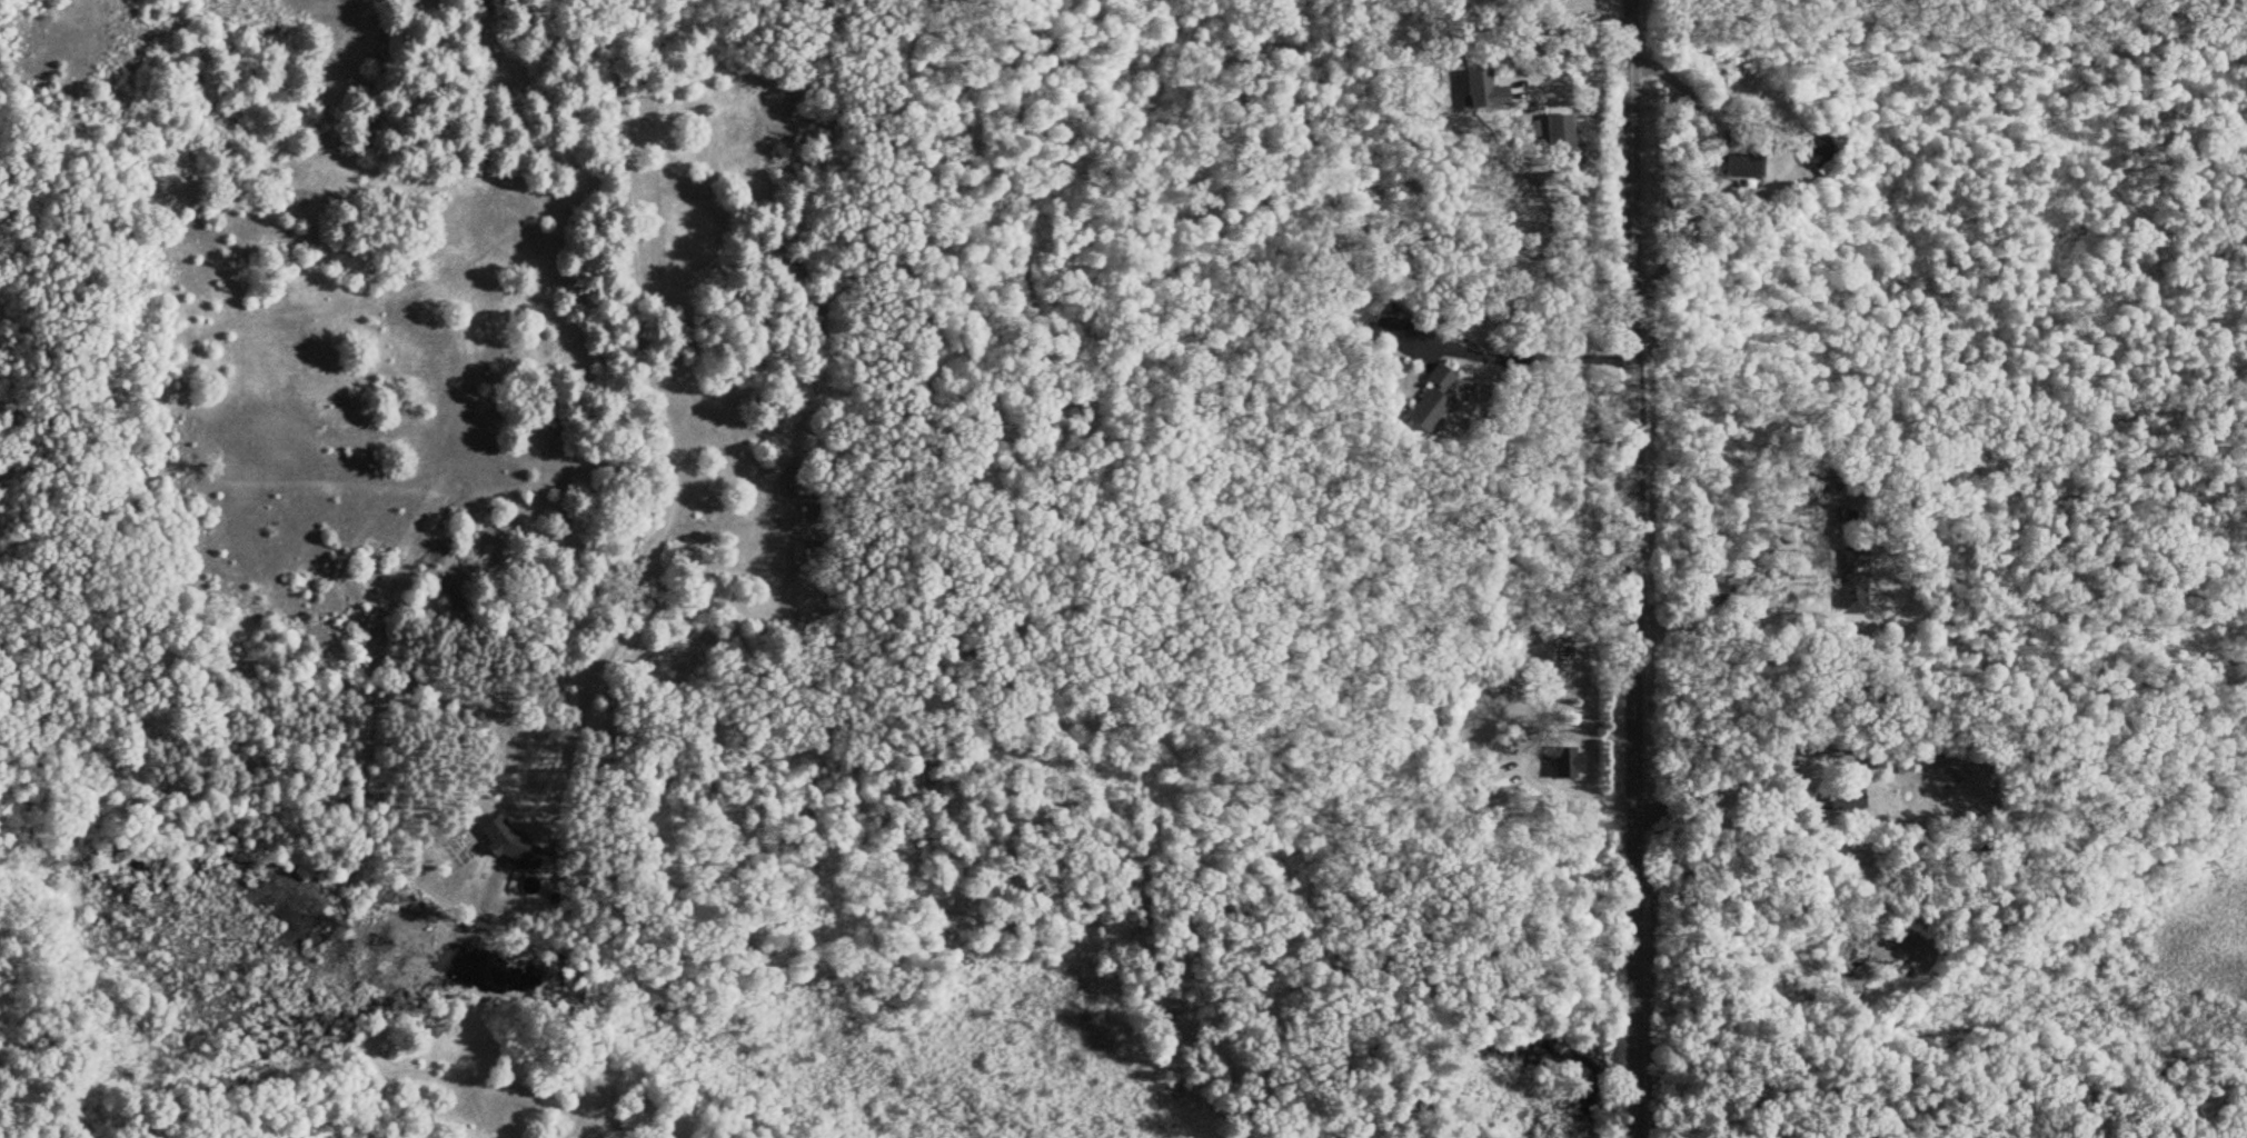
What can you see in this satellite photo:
road: (1531, 31)
road: (490, 124)
building: (1817, 163)
road: (1716, 251)
road: (1522, 351)
road: (658, 423)
road: (1623, 568)
building: (1843, 578)
road: (1719, 588)
road: (1539, 731)
building: (1565, 766)
road: (1727, 770)
building: (511, 848)

